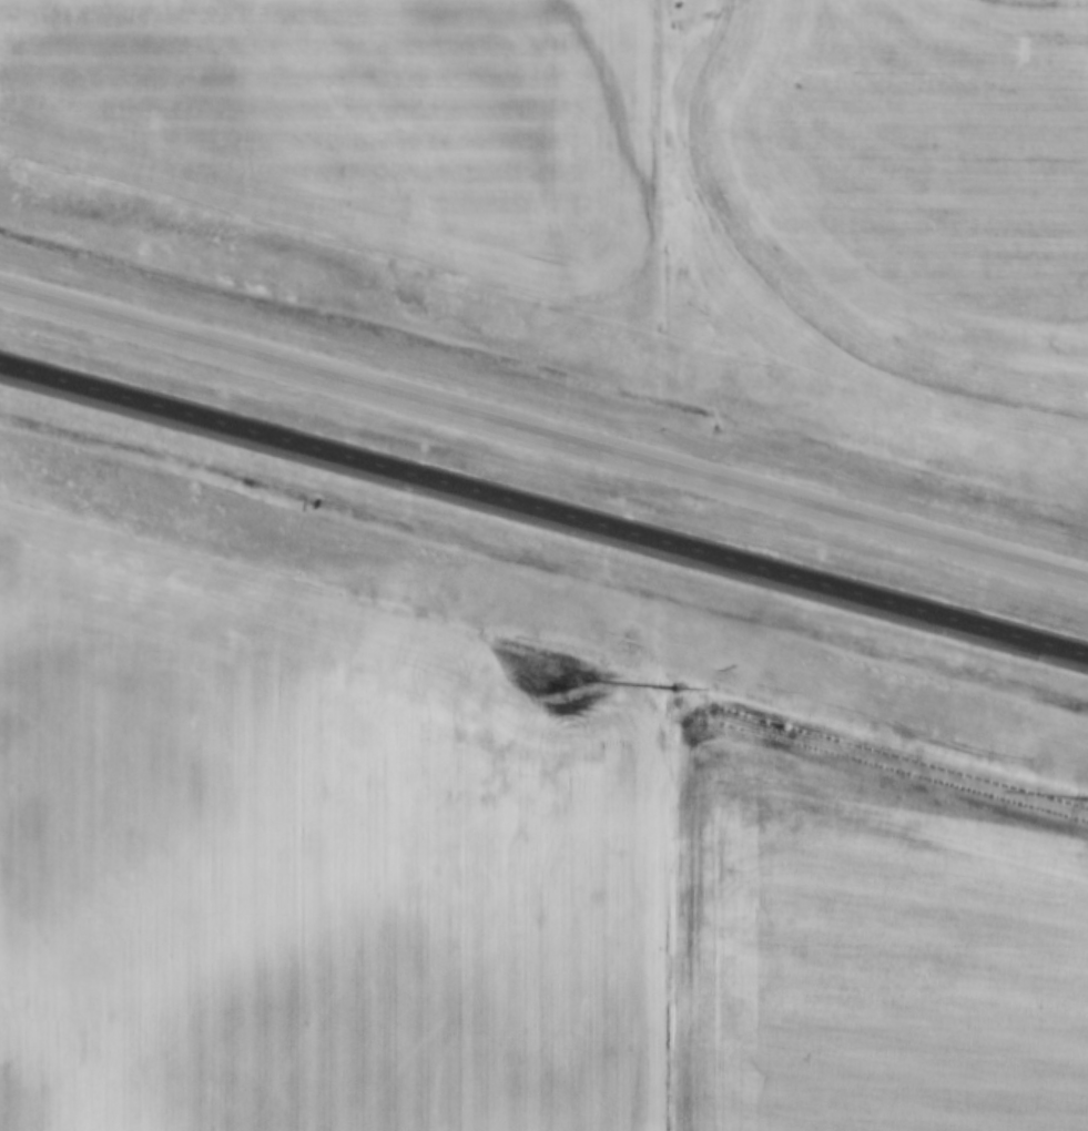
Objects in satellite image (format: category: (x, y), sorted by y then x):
building: (343, 436)
road: (543, 439)
road: (543, 513)

